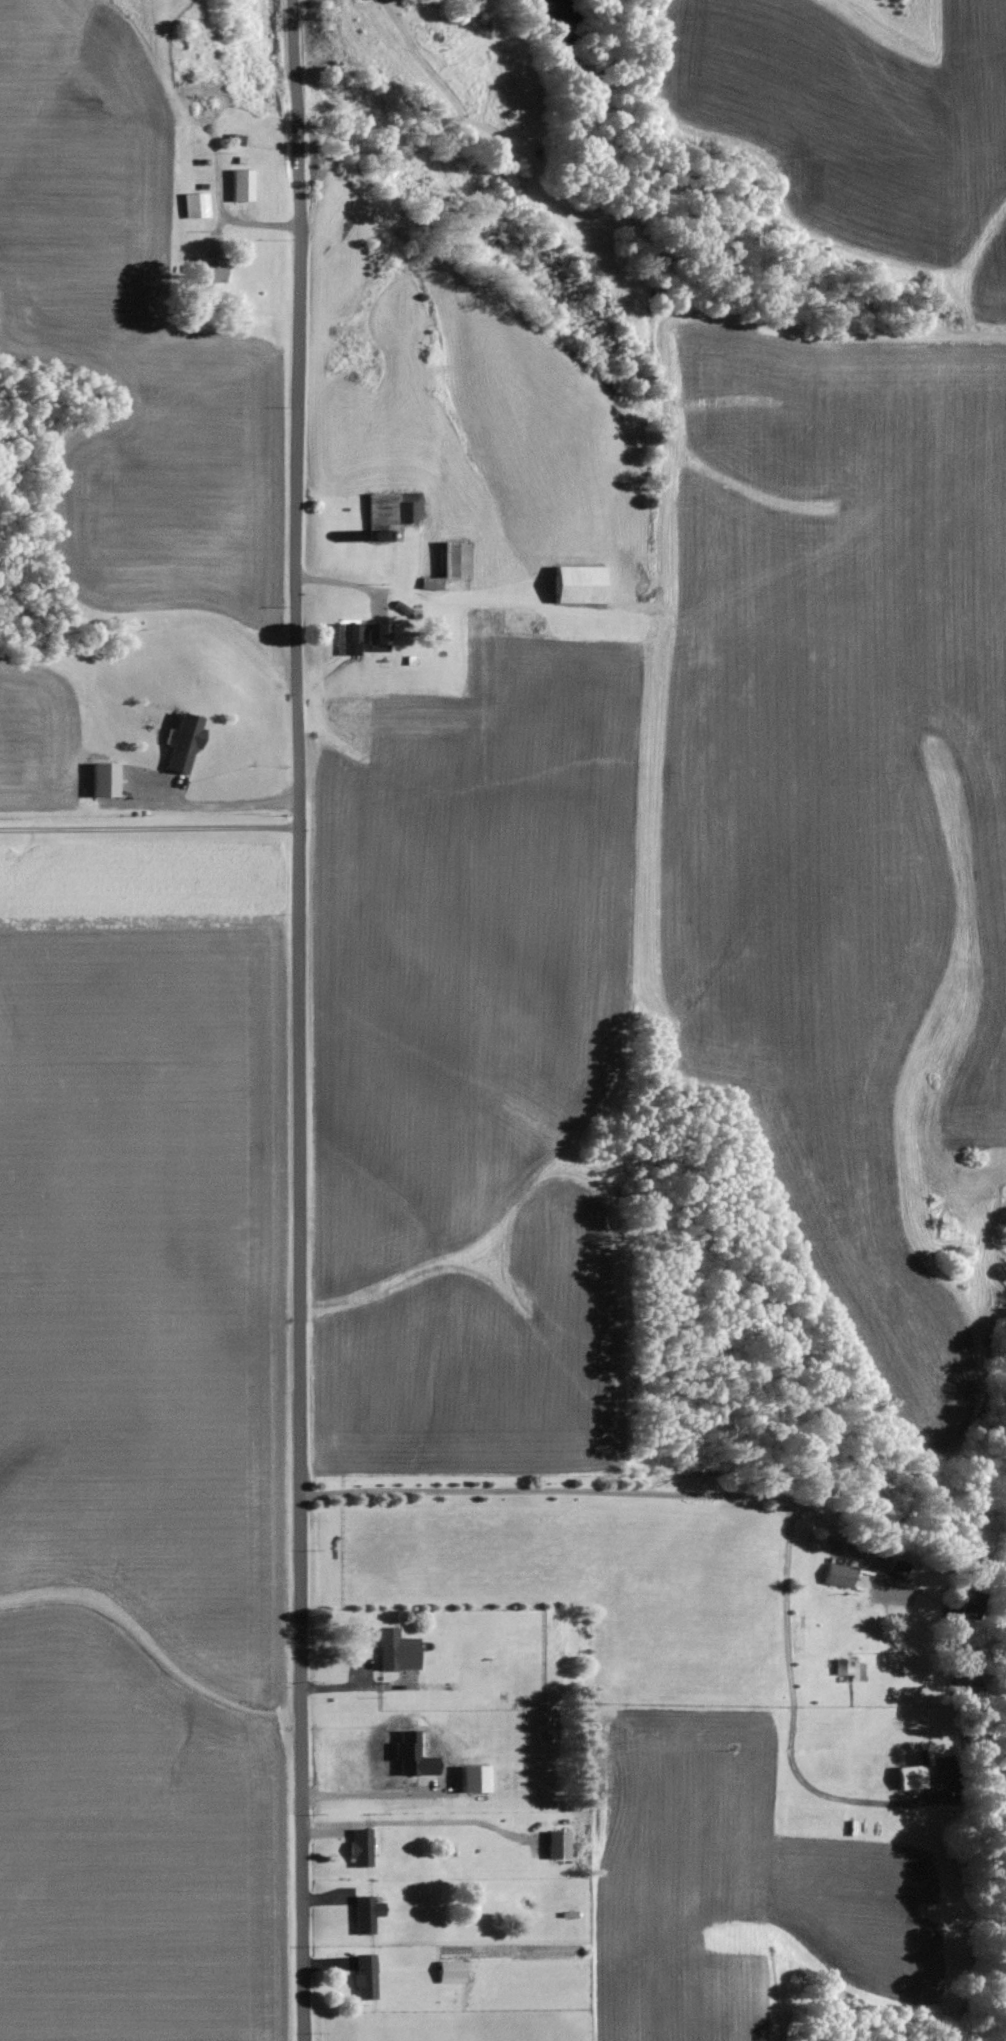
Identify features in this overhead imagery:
building: (242, 185)
building: (196, 205)
building: (408, 509)
building: (456, 559)
building: (579, 585)
building: (364, 637)
building: (184, 743)
building: (103, 780)
road: (149, 829)
road: (300, 1020)
road: (623, 1491)
building: (894, 1569)
building: (837, 1576)
building: (963, 1606)
building: (397, 1652)
building: (844, 1667)
road: (356, 1688)
building: (412, 1755)
building: (910, 1777)
building: (474, 1778)
road: (369, 1796)
building: (558, 1844)
building: (361, 1848)
building: (367, 1914)
building: (451, 1972)
building: (365, 1977)

